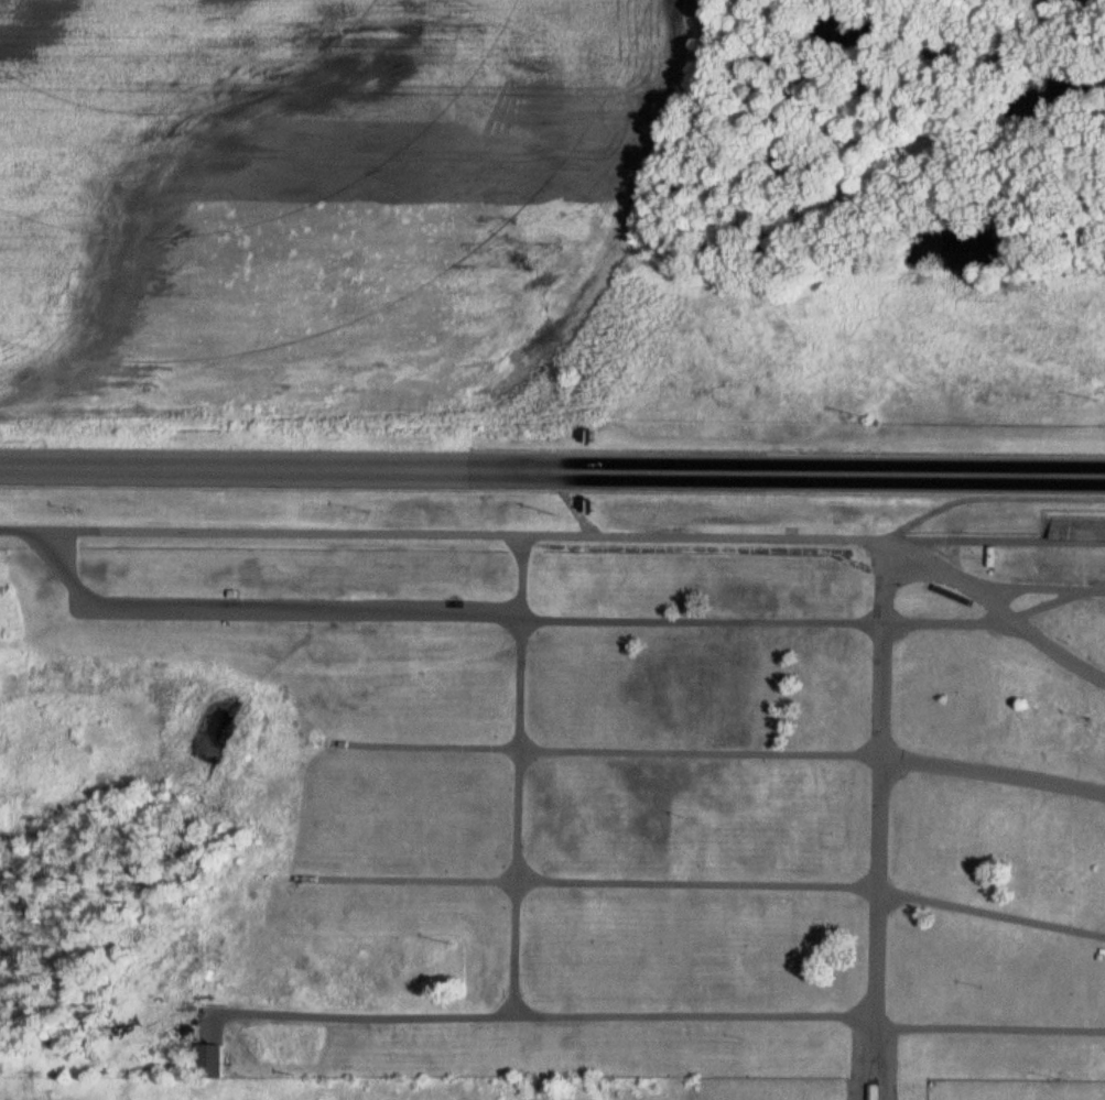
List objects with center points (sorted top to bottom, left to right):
raceway: (552, 470)
stadium: (1076, 471)
road: (988, 499)
road: (456, 537)
road: (1033, 589)
road: (996, 608)
road: (229, 610)
road: (759, 622)
road: (604, 751)
road: (992, 773)
road: (518, 778)
road: (876, 820)
road: (705, 885)
road: (538, 1019)
road: (986, 1030)
building: (210, 1061)

